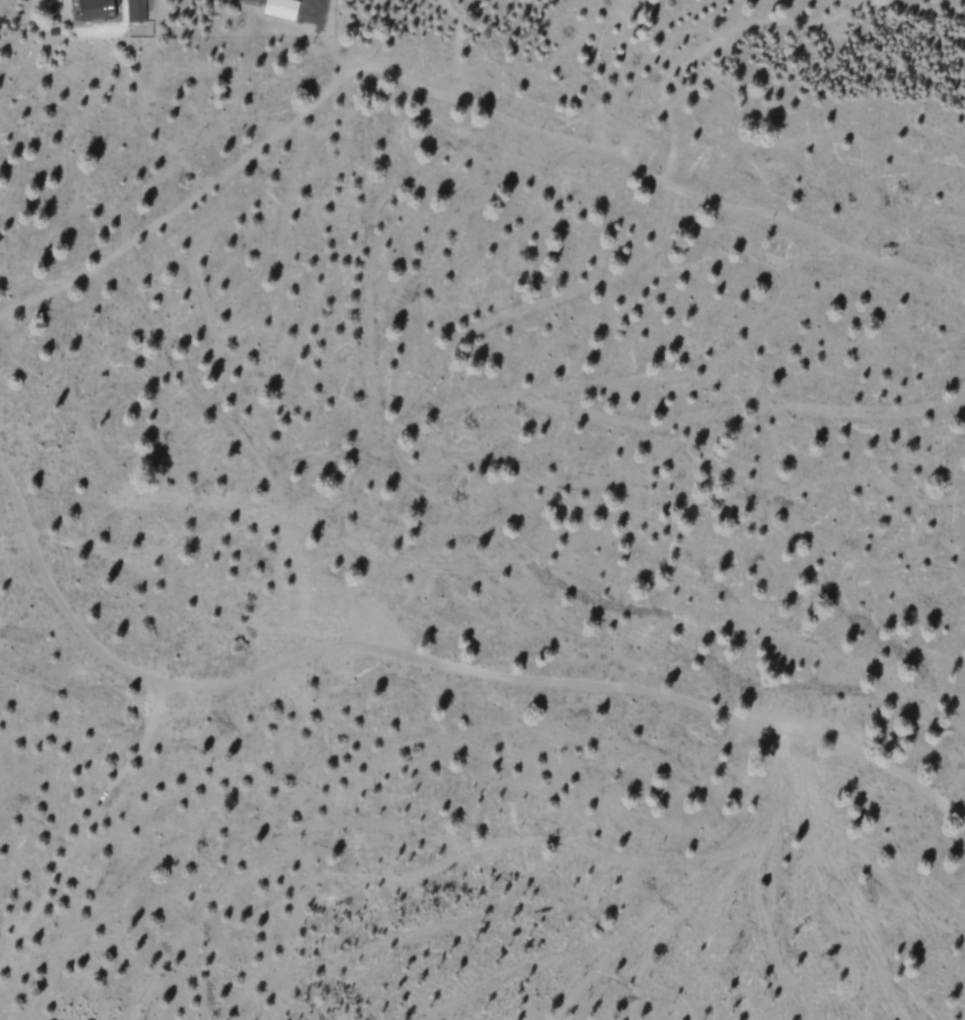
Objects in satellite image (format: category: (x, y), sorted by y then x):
building: (282, 8)
building: (96, 9)
building: (136, 10)
road: (452, 96)
road: (435, 666)
road: (86, 827)

